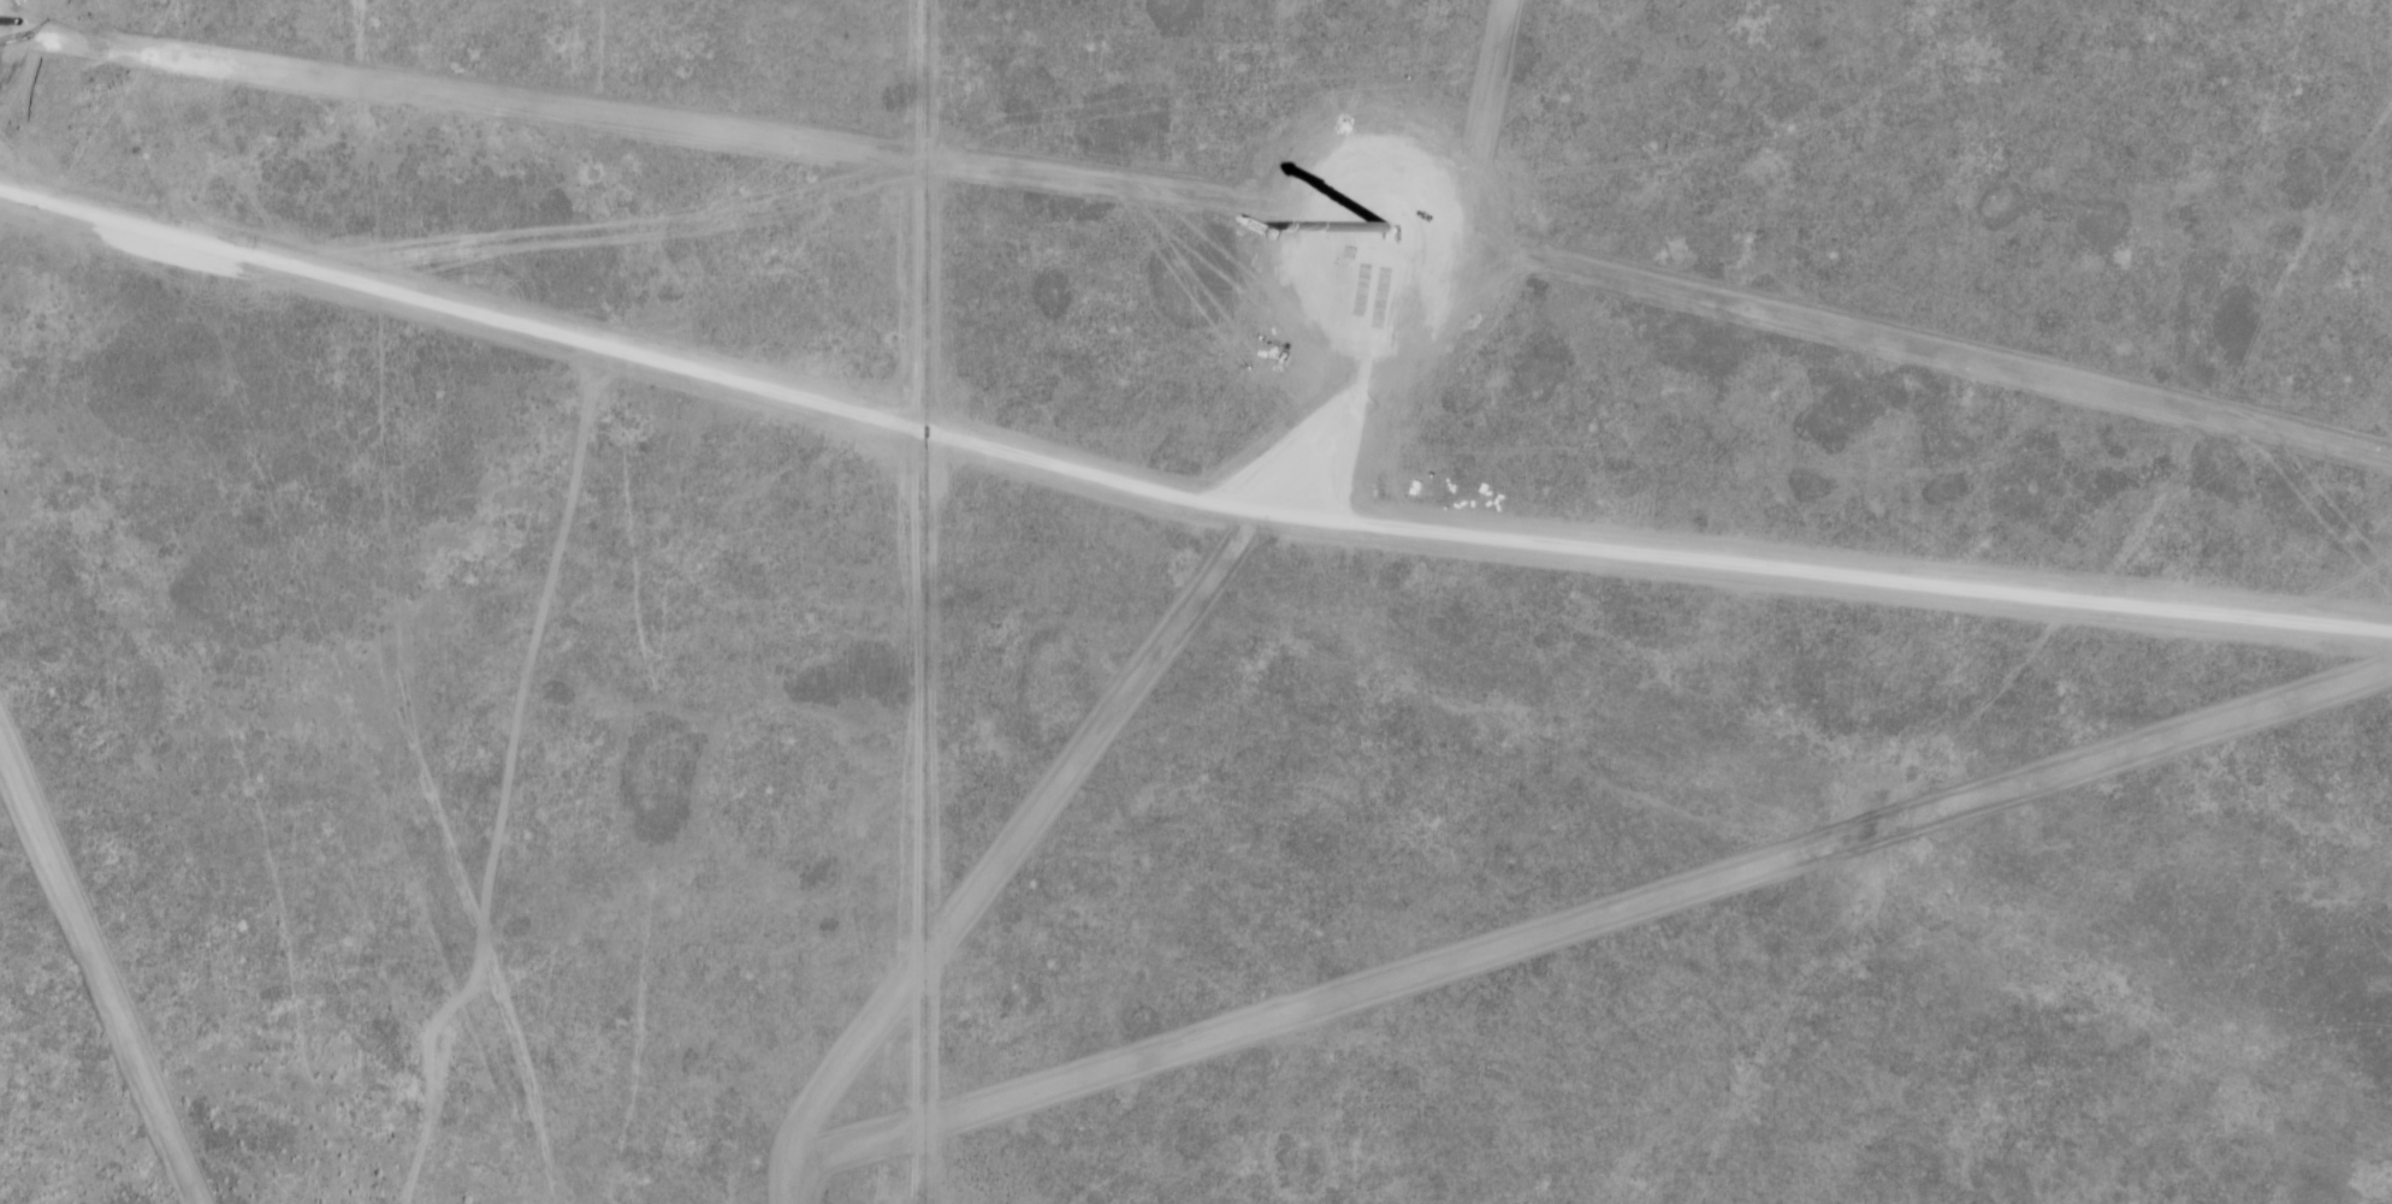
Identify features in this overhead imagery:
wind turbine: (1369, 229)

